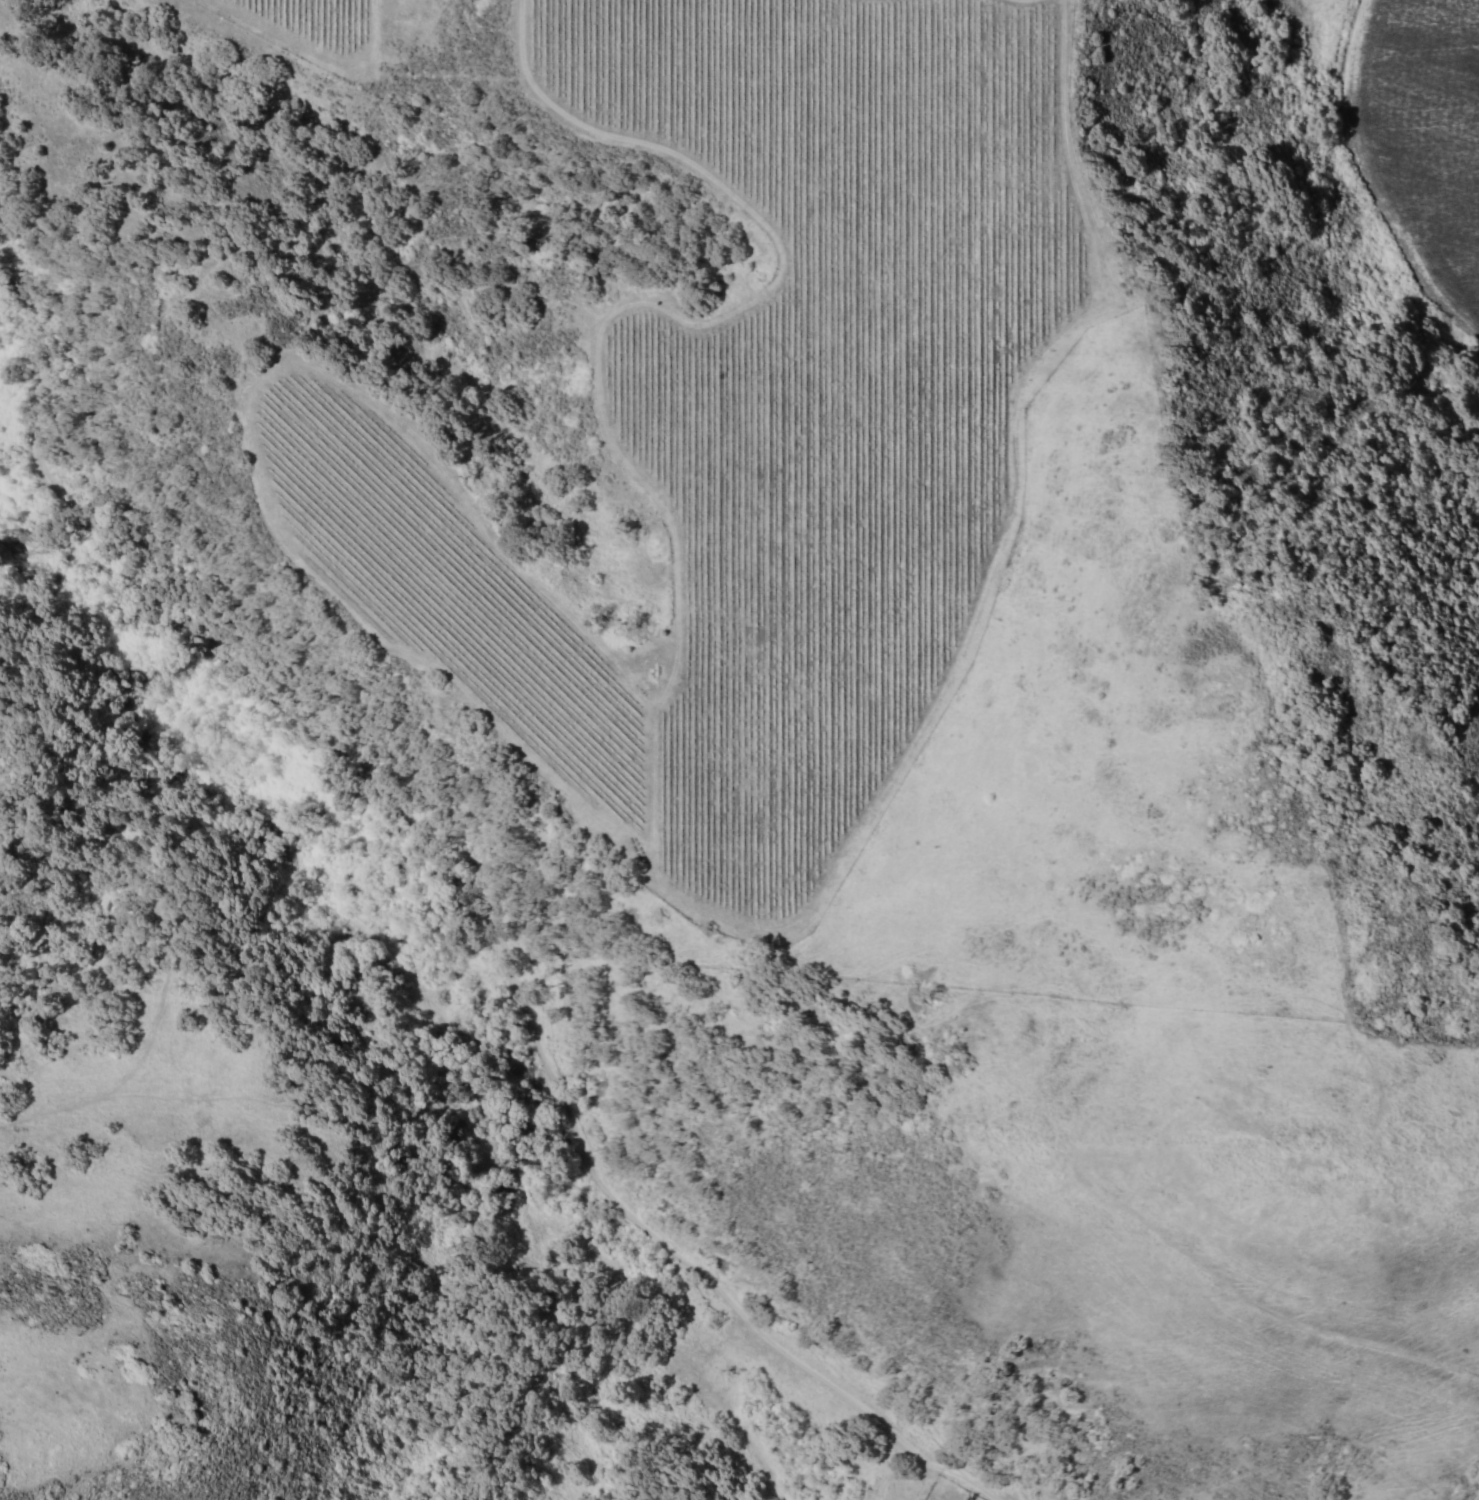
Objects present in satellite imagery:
crop: (333, 21)
crop: (1422, 135)
road: (429, 933)

